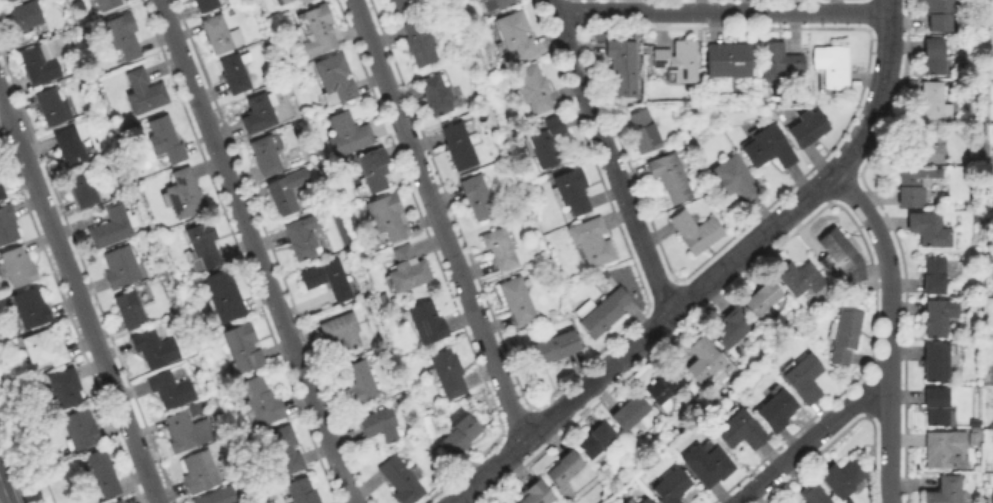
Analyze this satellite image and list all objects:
building: (304, 1)
building: (5, 2)
building: (280, 2)
building: (107, 5)
building: (205, 5)
building: (495, 5)
building: (403, 7)
road: (720, 11)
building: (935, 14)
building: (21, 18)
building: (315, 31)
building: (514, 35)
building: (122, 36)
building: (219, 36)
building: (418, 43)
building: (928, 57)
building: (678, 60)
building: (729, 60)
building: (780, 62)
building: (38, 65)
building: (622, 67)
building: (835, 68)
building: (234, 74)
building: (334, 81)
building: (530, 89)
building: (143, 94)
building: (435, 96)
building: (929, 103)
building: (50, 109)
building: (257, 113)
building: (808, 129)
building: (643, 132)
building: (347, 135)
building: (164, 141)
building: (546, 142)
building: (920, 146)
building: (68, 147)
building: (458, 147)
building: (767, 148)
building: (992, 155)
building: (264, 157)
road: (608, 158)
building: (373, 169)
building: (669, 177)
building: (732, 180)
building: (914, 187)
building: (81, 189)
building: (284, 192)
building: (570, 192)
building: (2, 193)
building: (182, 196)
building: (476, 199)
building: (386, 217)
road: (438, 219)
building: (6, 226)
building: (111, 227)
building: (925, 231)
building: (695, 232)
road: (652, 238)
building: (300, 239)
building: (592, 243)
road: (749, 245)
building: (201, 247)
building: (499, 250)
road: (257, 251)
building: (840, 258)
building: (17, 268)
building: (119, 268)
building: (406, 272)
building: (991, 275)
building: (929, 277)
building: (798, 279)
building: (327, 280)
road: (80, 295)
building: (222, 296)
building: (762, 299)
building: (516, 302)
building: (29, 309)
building: (128, 311)
building: (604, 314)
building: (931, 320)
building: (424, 324)
building: (732, 328)
road: (887, 330)
building: (340, 331)
building: (843, 336)
building: (242, 346)
building: (42, 349)
building: (154, 349)
building: (552, 349)
building: (703, 360)
building: (932, 363)
building: (991, 369)
building: (446, 374)
building: (803, 379)
building: (358, 383)
building: (666, 387)
building: (63, 390)
building: (168, 390)
building: (261, 402)
building: (930, 405)
building: (629, 412)
building: (776, 412)
building: (970, 424)
building: (378, 425)
building: (79, 430)
building: (185, 432)
building: (740, 432)
building: (457, 434)
building: (971, 438)
road: (812, 440)
building: (595, 441)
building: (281, 449)
building: (940, 449)
building: (988, 461)
building: (706, 466)
road: (487, 470)
building: (562, 471)
building: (101, 473)
building: (198, 473)
building: (840, 479)
building: (399, 482)
building: (670, 486)
building: (939, 490)
building: (299, 492)
building: (535, 493)
building: (810, 494)
building: (989, 496)
building: (217, 497)
building: (643, 501)
road: (0, 502)
building: (114, 502)
building: (621, 502)
building: (626, 502)

